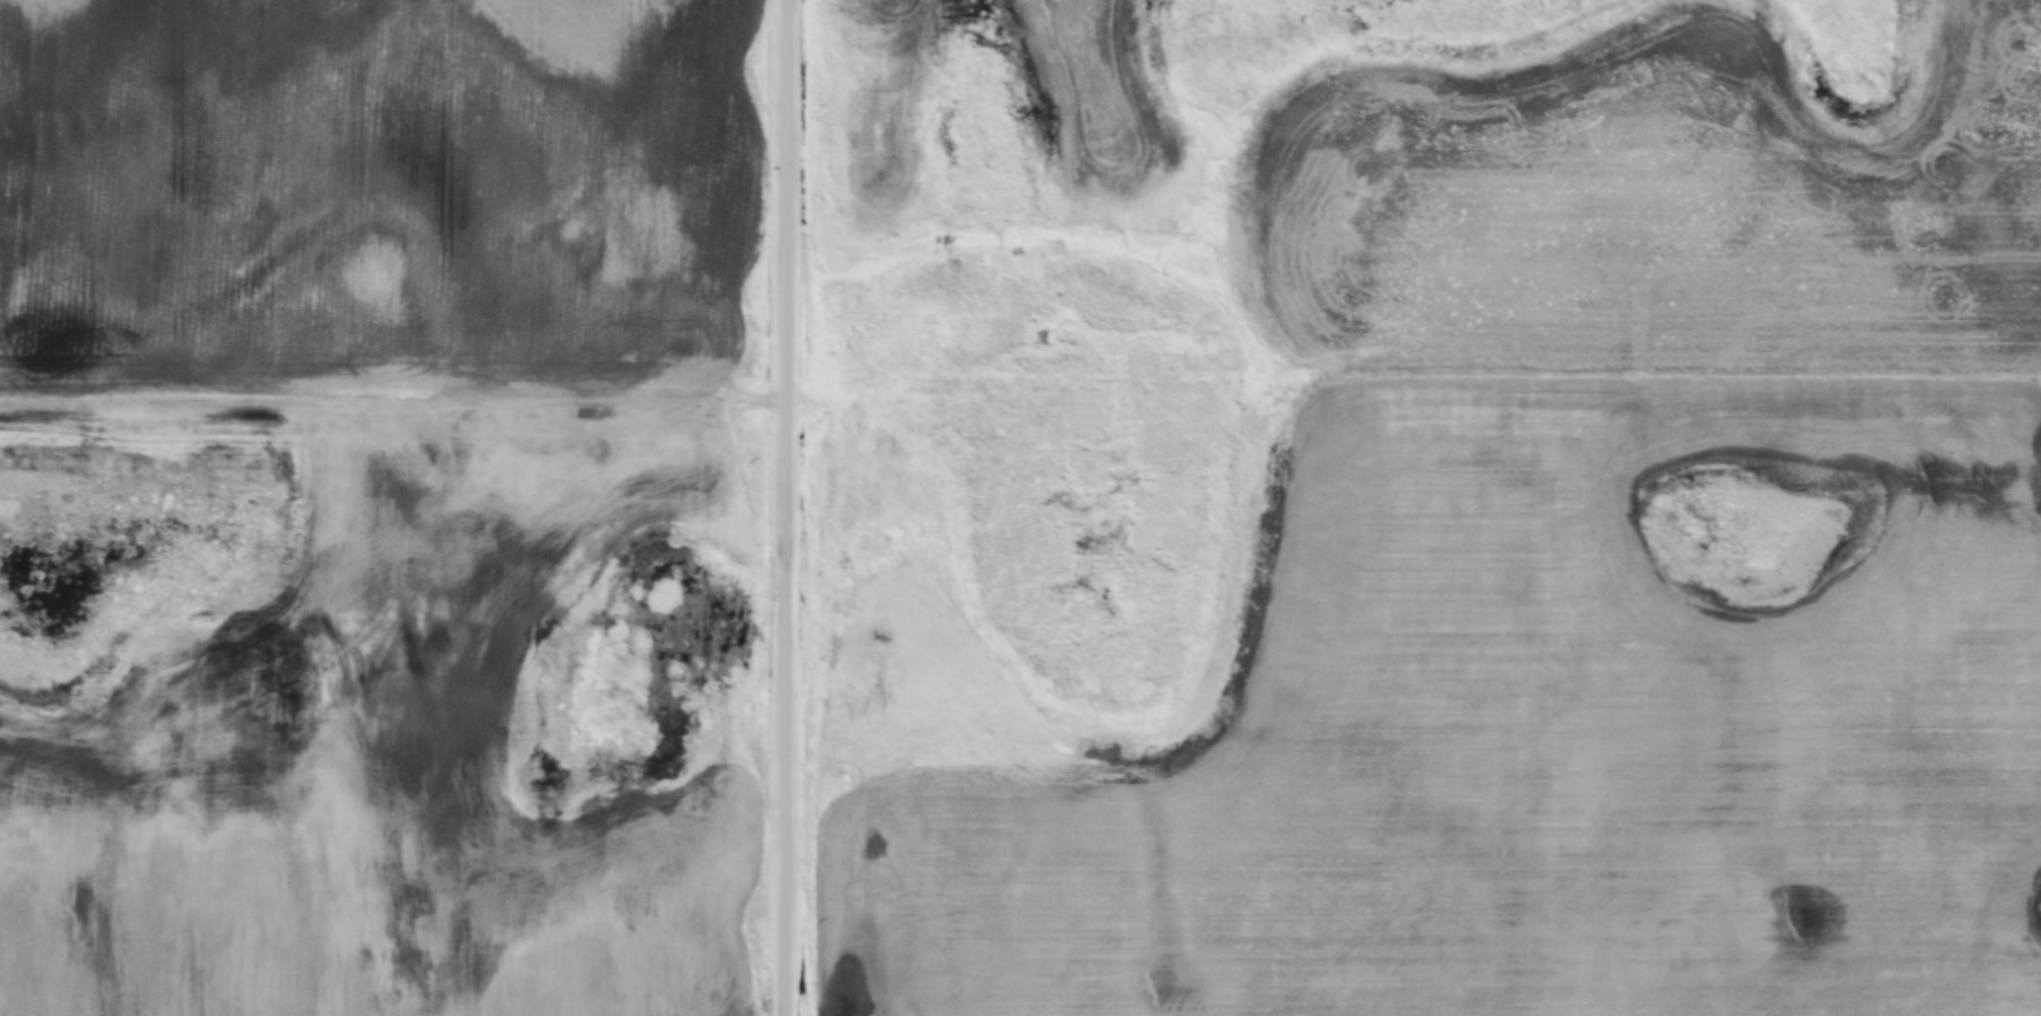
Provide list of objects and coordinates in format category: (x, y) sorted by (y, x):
road: (786, 507)

